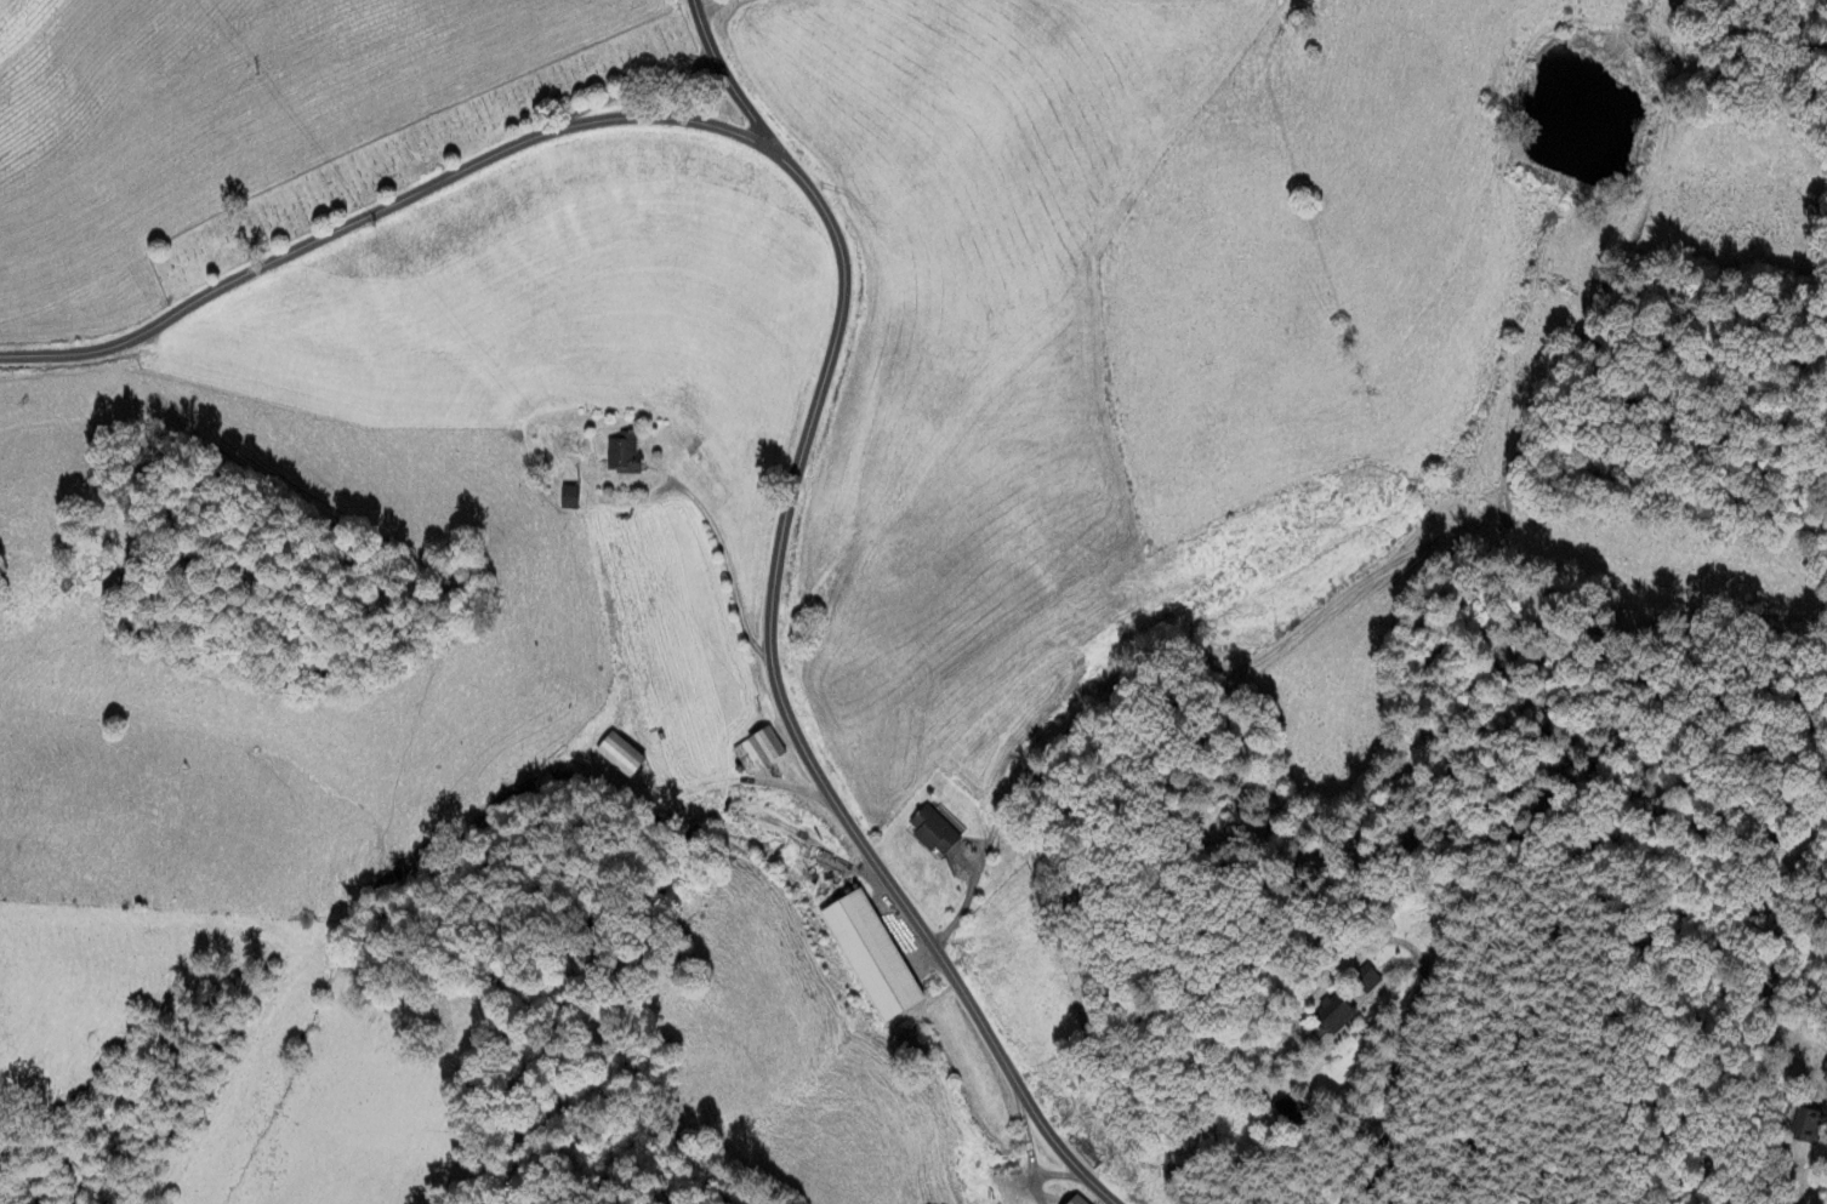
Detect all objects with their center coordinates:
road: (713, 5)
road: (730, 82)
park: (416, 154)
road: (389, 207)
building: (624, 455)
building: (569, 498)
road: (786, 714)
building: (759, 752)
building: (620, 755)
building: (935, 829)
building: (871, 955)
building: (1366, 978)
building: (1337, 1010)
road: (1395, 1080)
building: (1288, 1107)
building: (1808, 1126)
road: (1025, 1141)
building: (1077, 1200)

